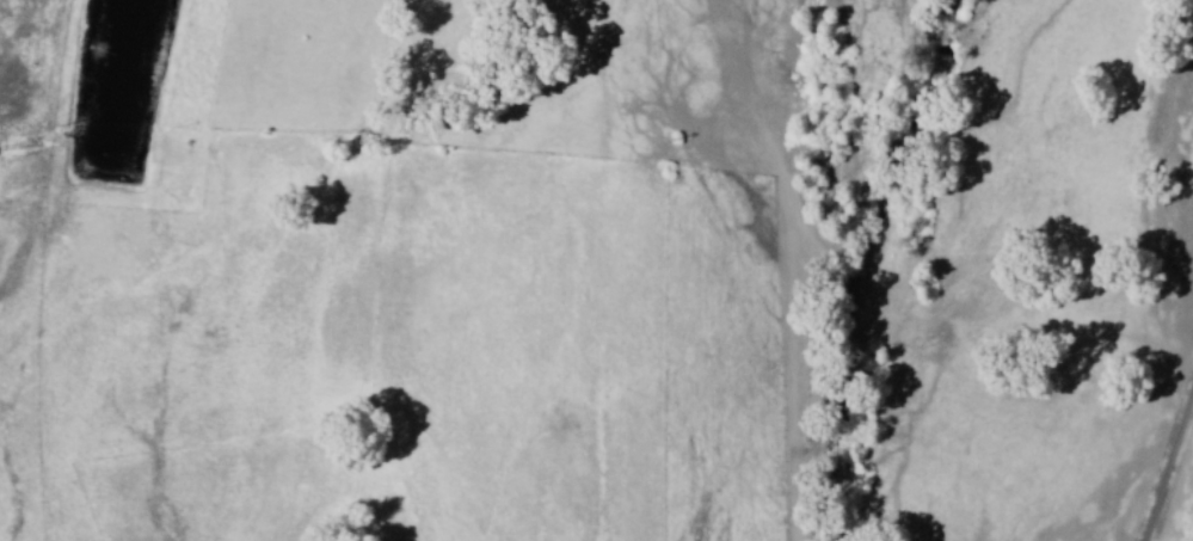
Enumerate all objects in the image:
road: (1172, 469)

